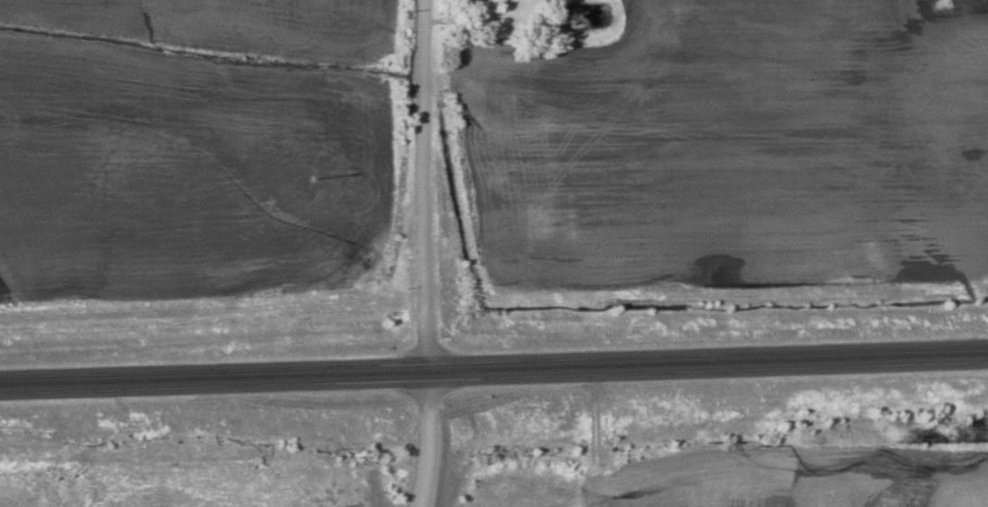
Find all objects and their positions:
road: (423, 186)
road: (494, 369)
road: (428, 440)
crop: (788, 478)

